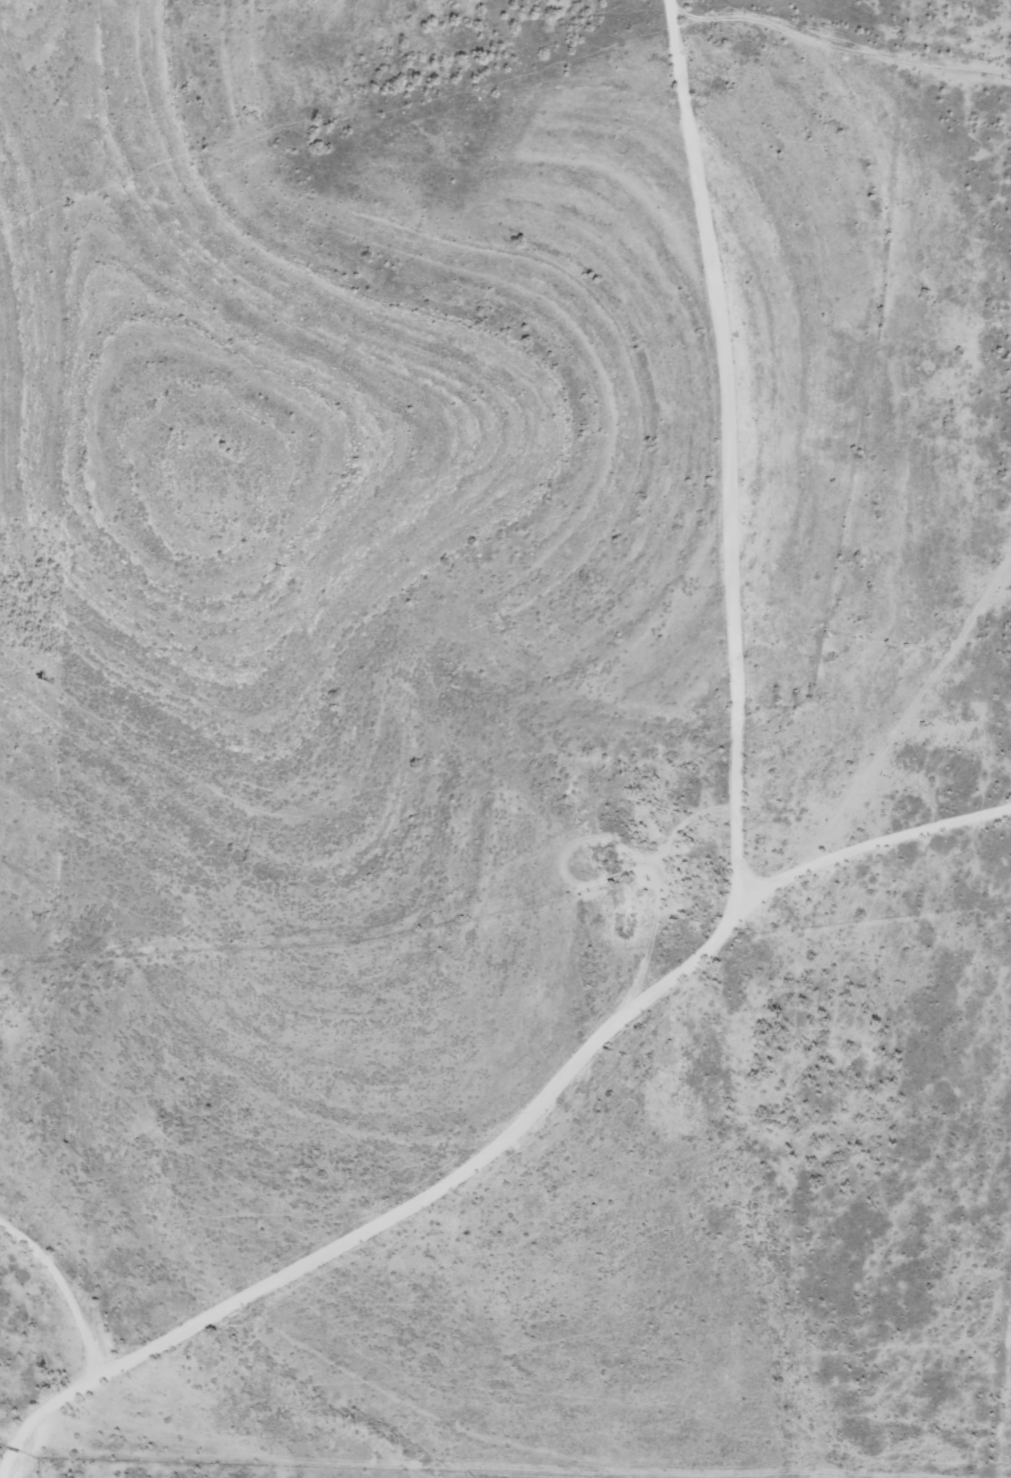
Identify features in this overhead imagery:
road: (901, 125)
road: (701, 463)
road: (1006, 572)
road: (878, 741)
road: (513, 1136)
road: (50, 1355)

